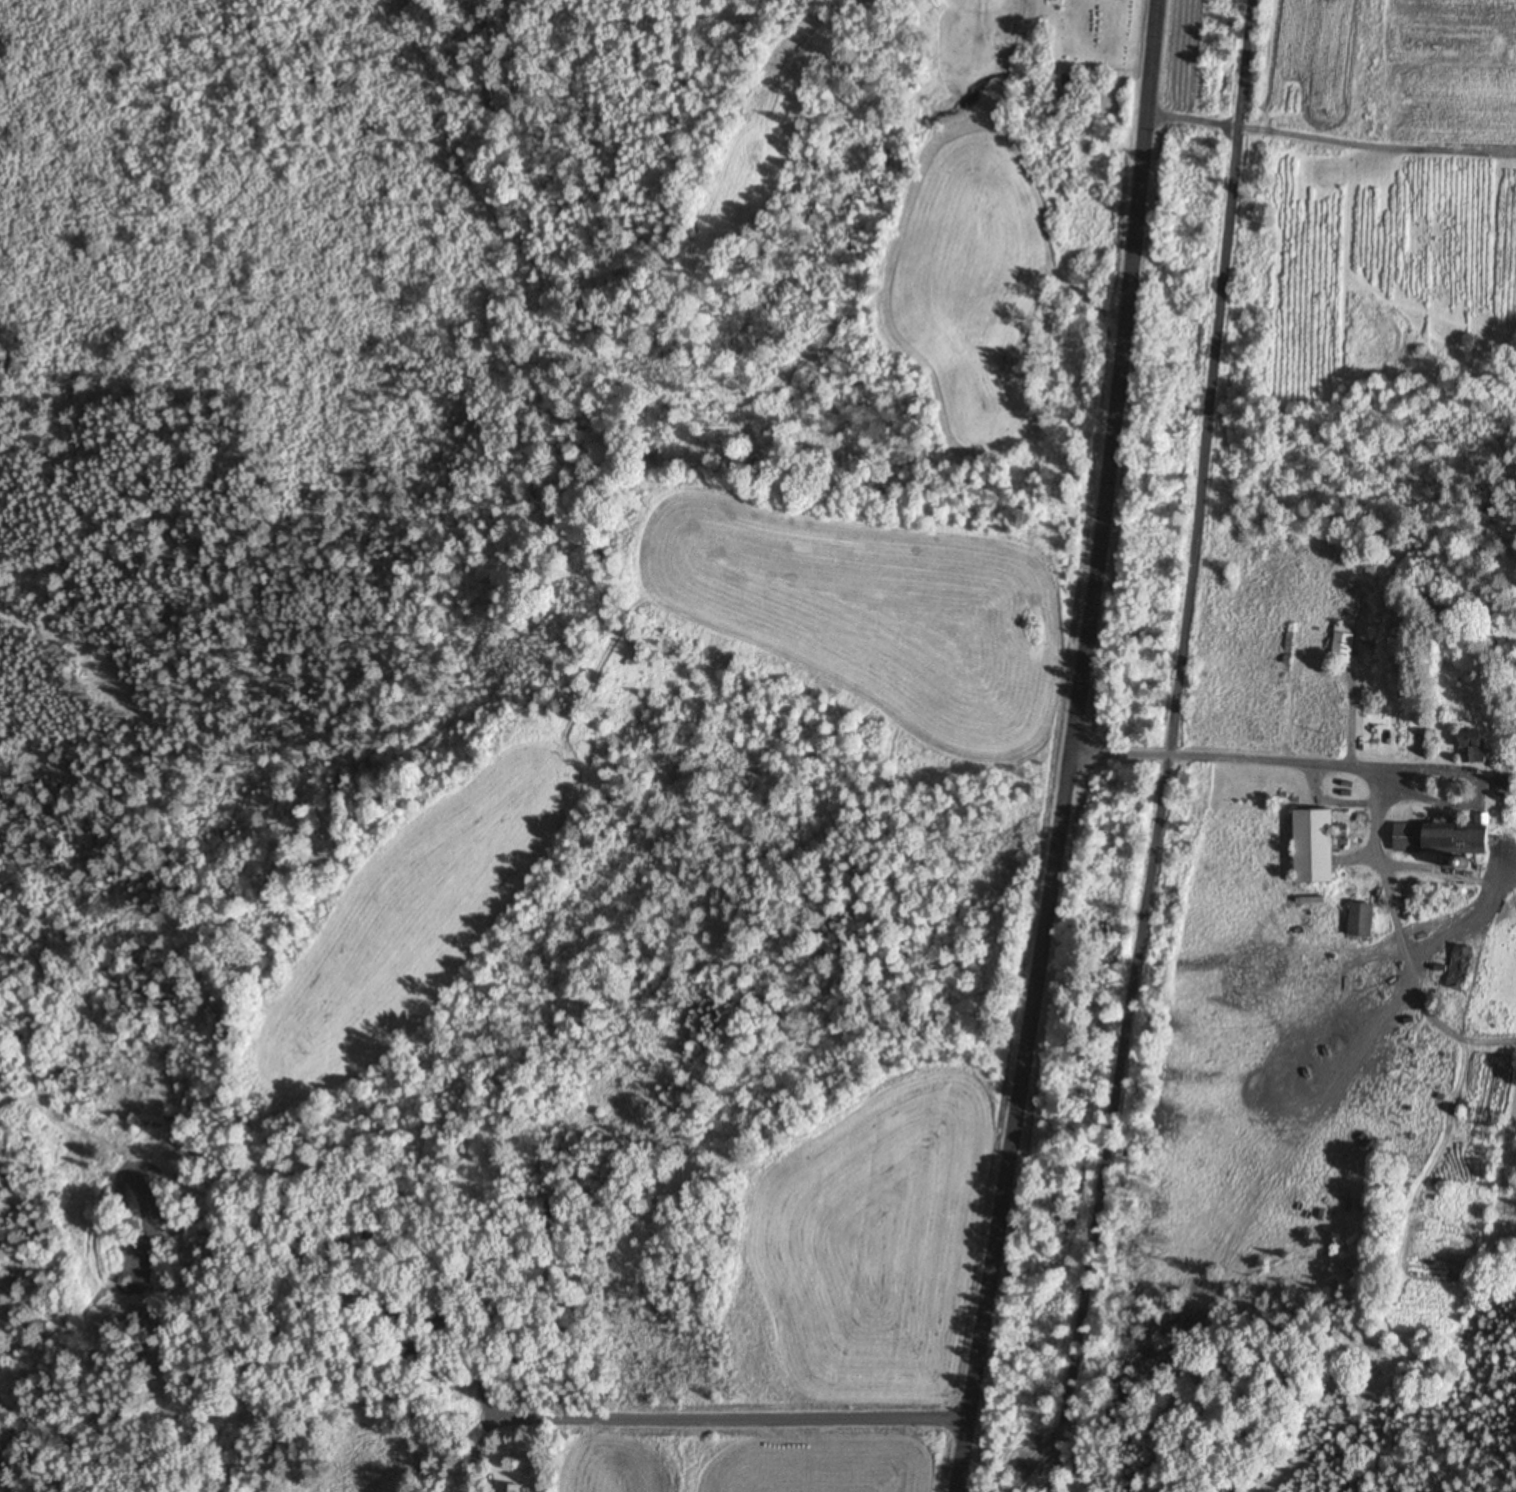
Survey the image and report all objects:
building: (1347, 645)
road: (1054, 746)
road: (1169, 748)
building: (1479, 749)
building: (1452, 841)
building: (1320, 847)
building: (1366, 921)
building: (1463, 966)
road: (460, 1424)
building: (520, 1489)

